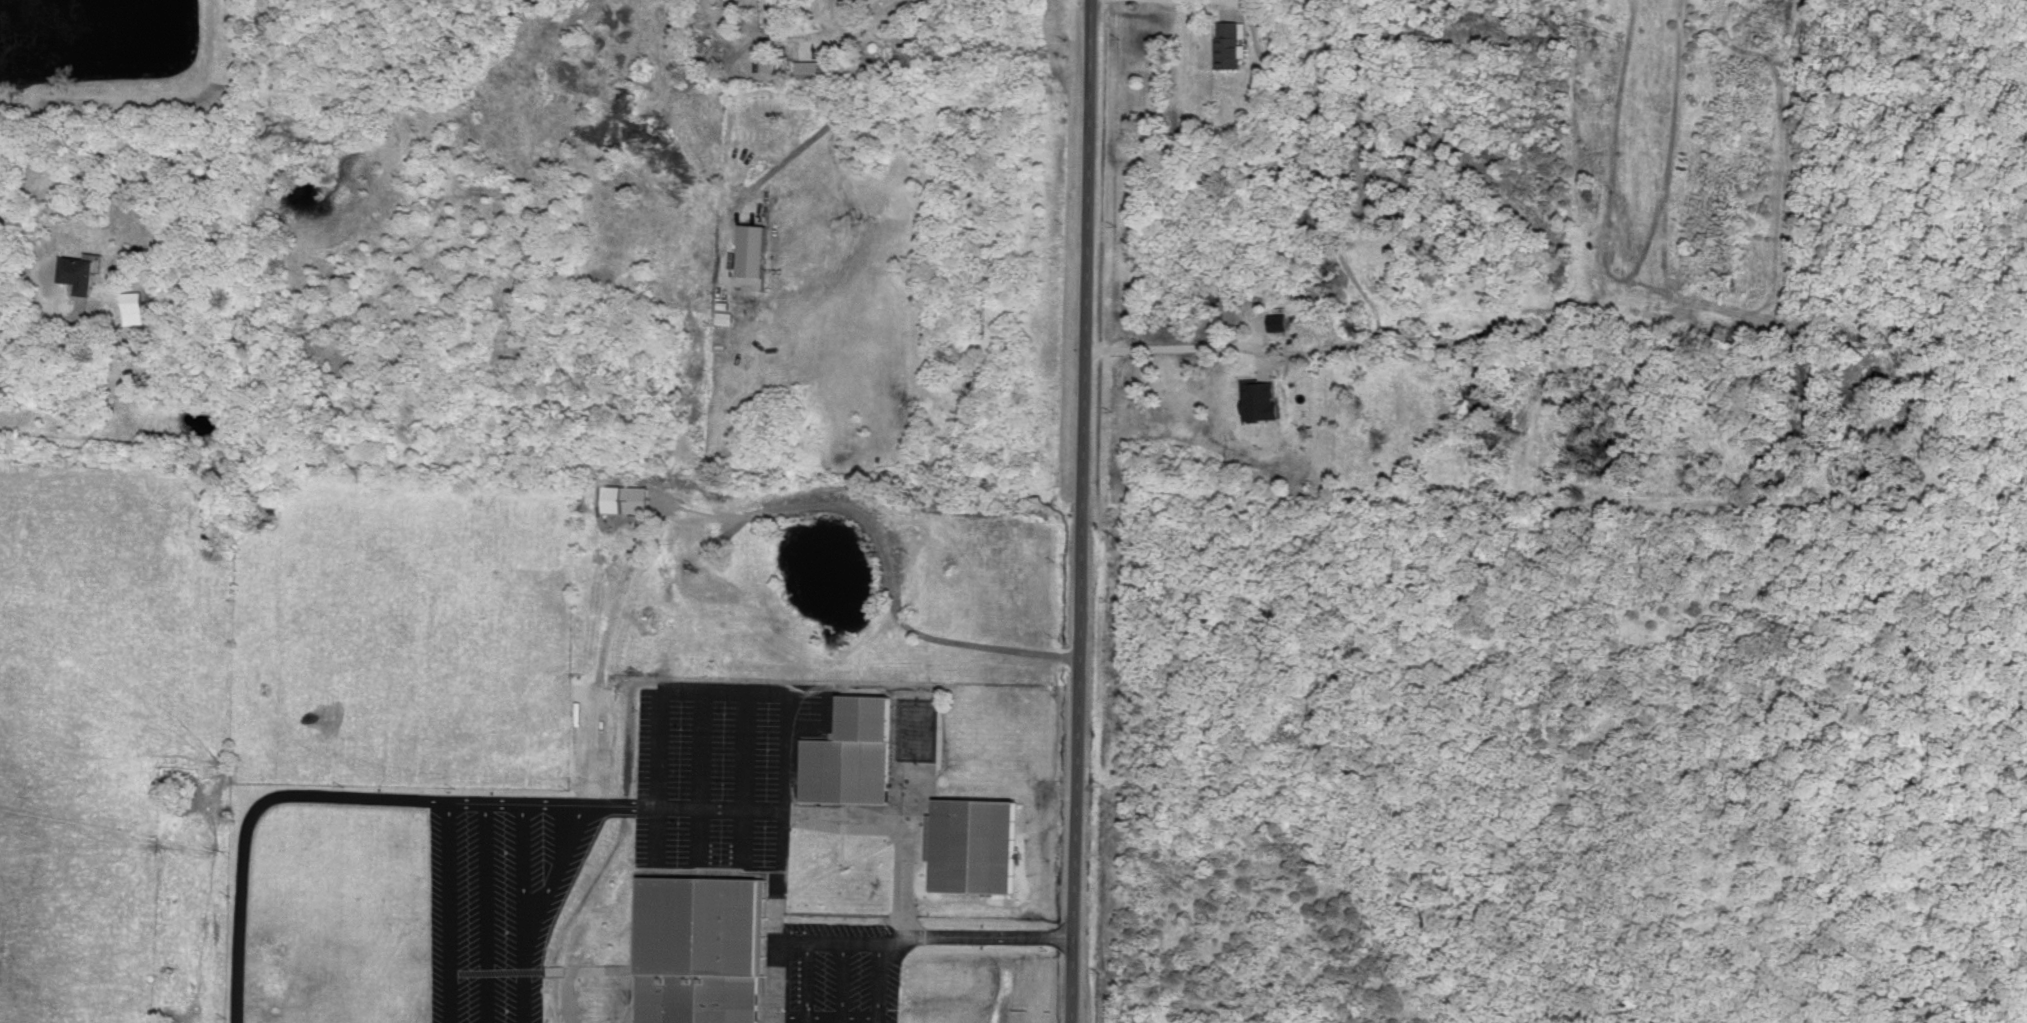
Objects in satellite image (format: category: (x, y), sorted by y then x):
road: (1162, 4)
road: (891, 11)
building: (1231, 41)
building: (818, 69)
building: (755, 248)
building: (80, 272)
building: (135, 306)
road: (41, 320)
building: (1281, 320)
road: (1171, 345)
building: (1262, 399)
building: (628, 498)
road: (1079, 511)
building: (853, 753)
road: (353, 795)
road: (731, 807)
building: (978, 844)
road: (988, 936)
road: (817, 941)
building: (703, 950)
road: (843, 982)
road: (824, 1015)

